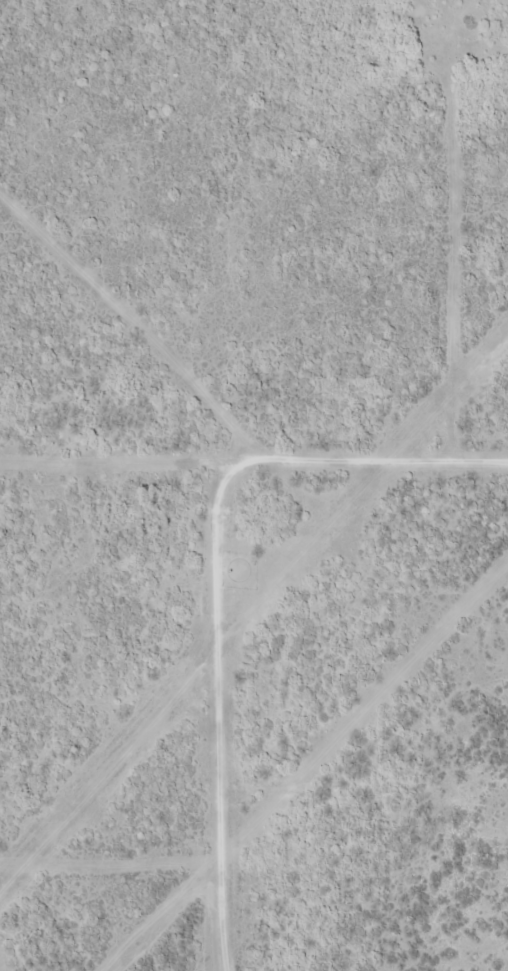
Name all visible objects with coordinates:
road: (369, 471)
road: (231, 722)

